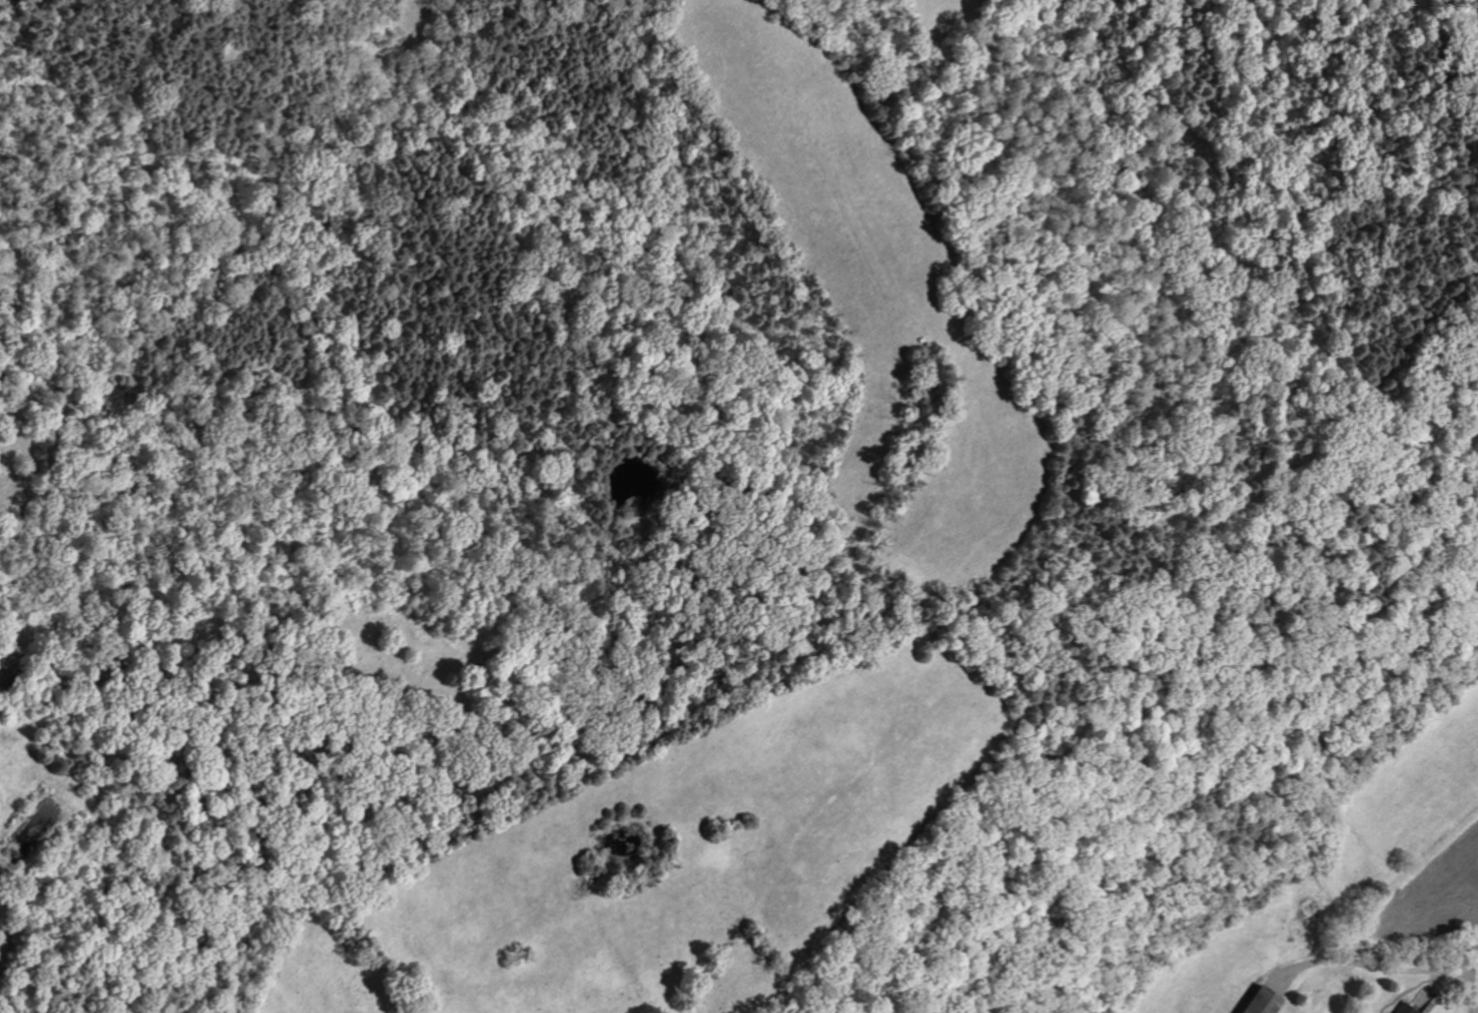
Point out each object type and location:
road: (1398, 957)
building: (1257, 1001)
building: (1404, 1009)

